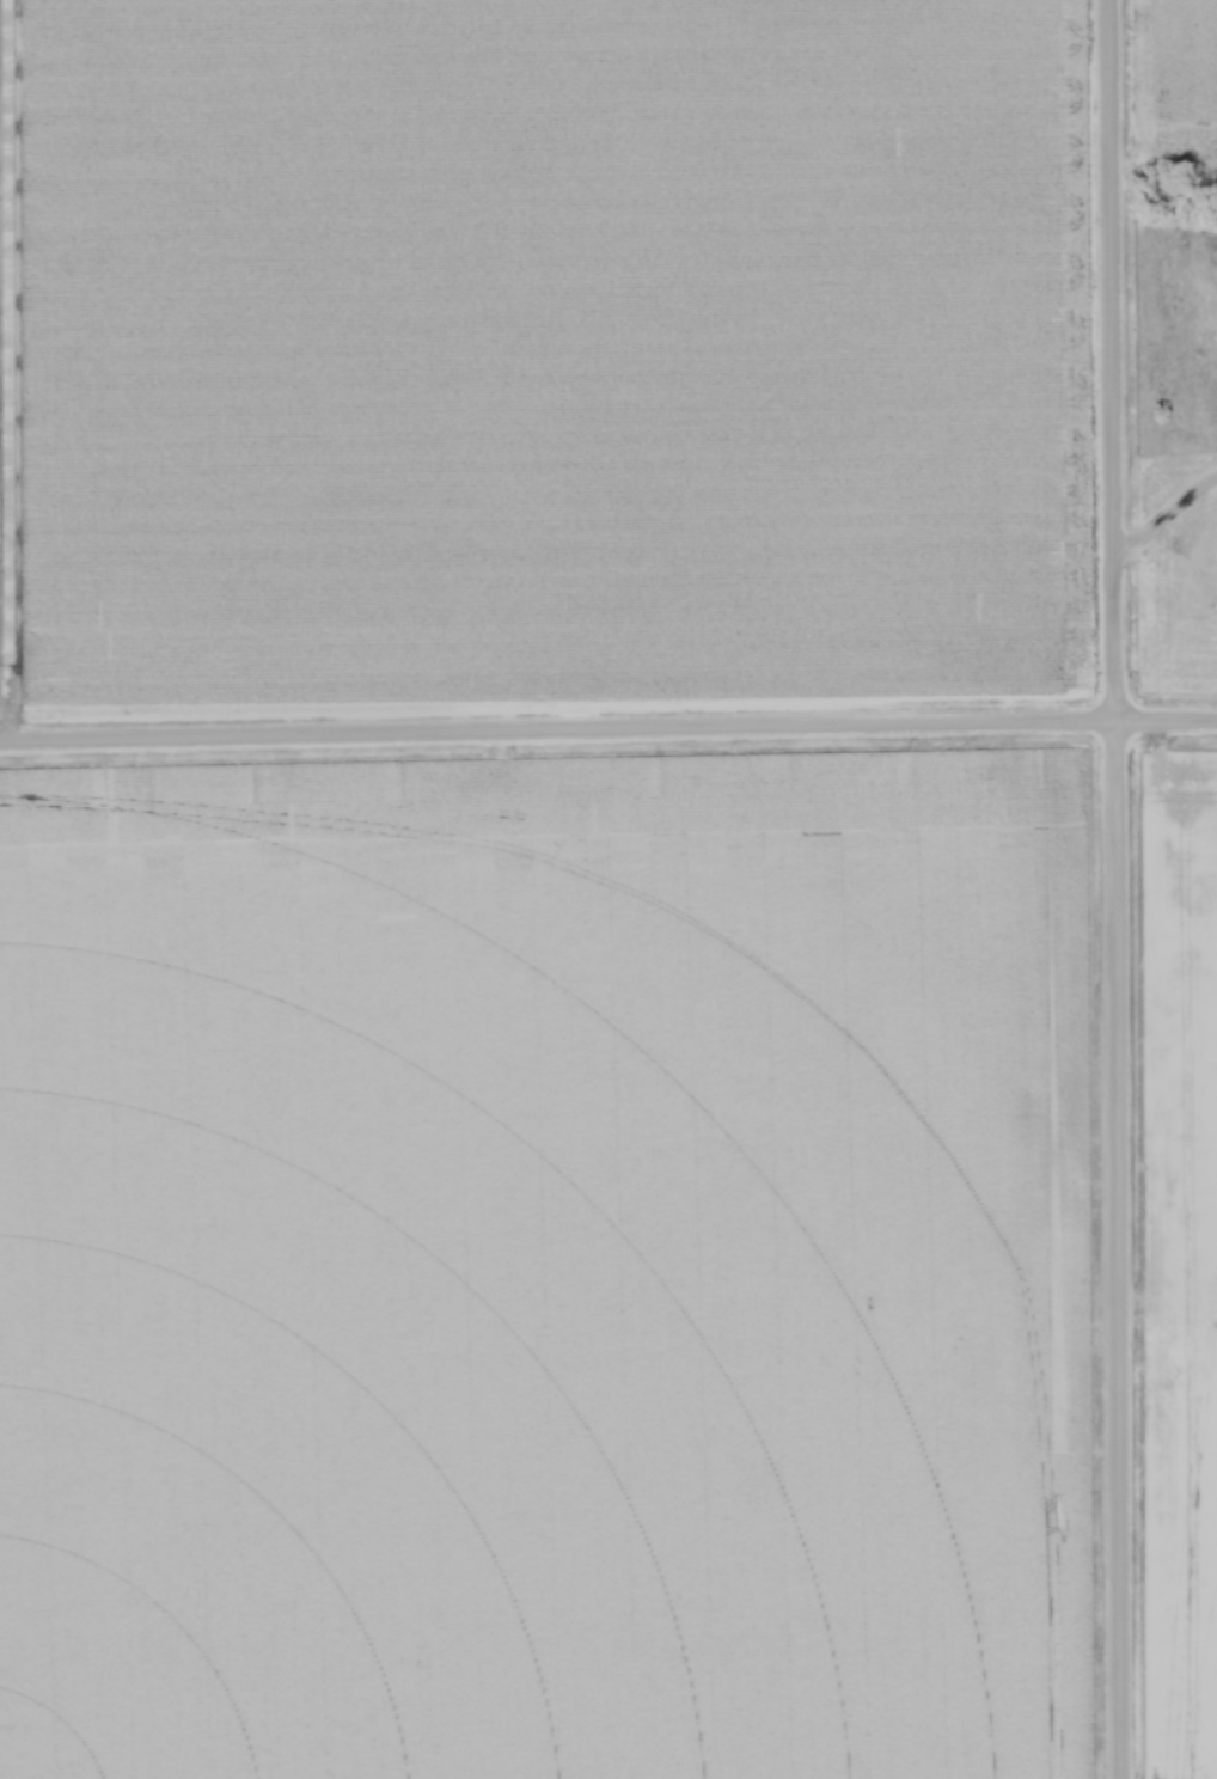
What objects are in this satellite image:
crop: (1178, 66)
crop: (538, 349)
road: (1166, 513)
road: (607, 726)
road: (1113, 888)
crop: (1178, 1257)
crop: (544, 1267)

